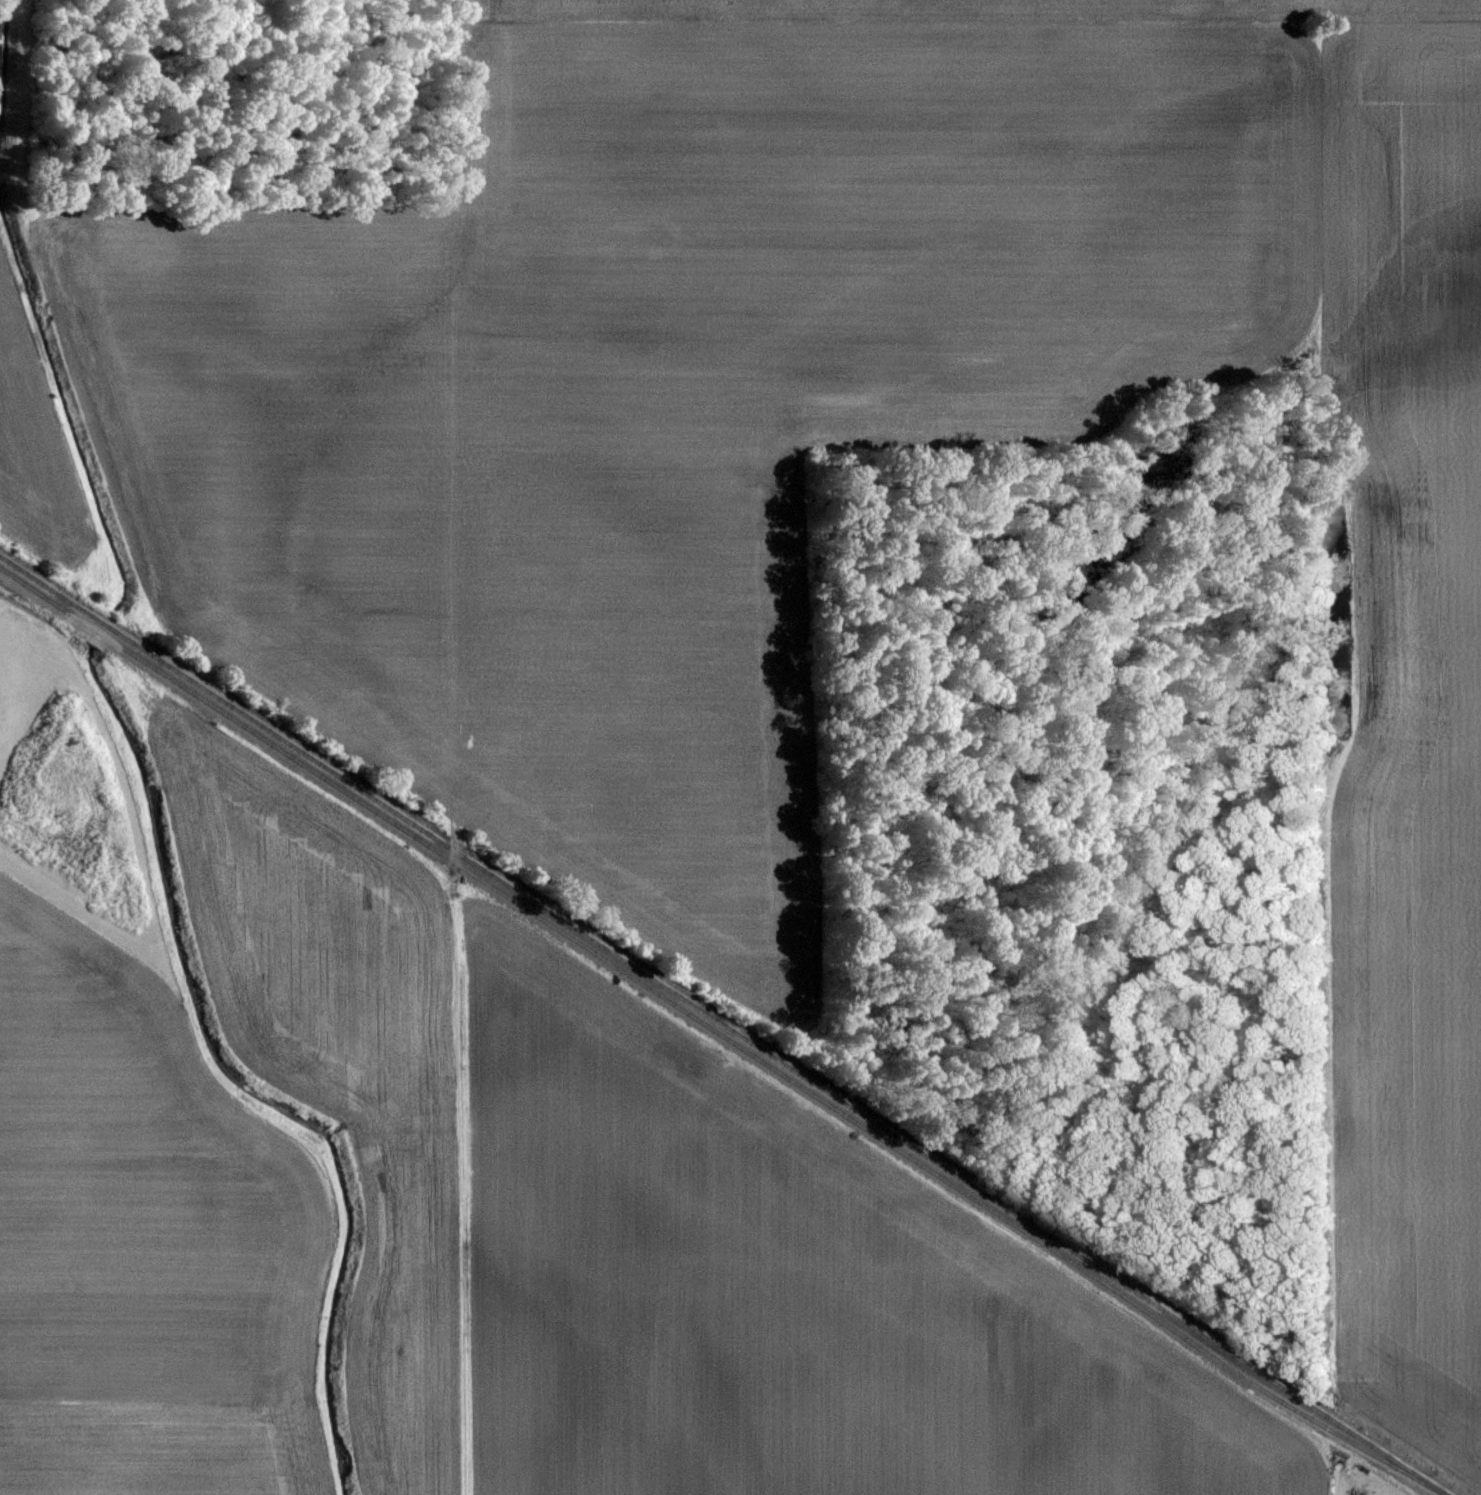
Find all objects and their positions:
crop: (967, 9)
crop: (662, 399)
railway: (618, 960)
railway: (723, 1025)

